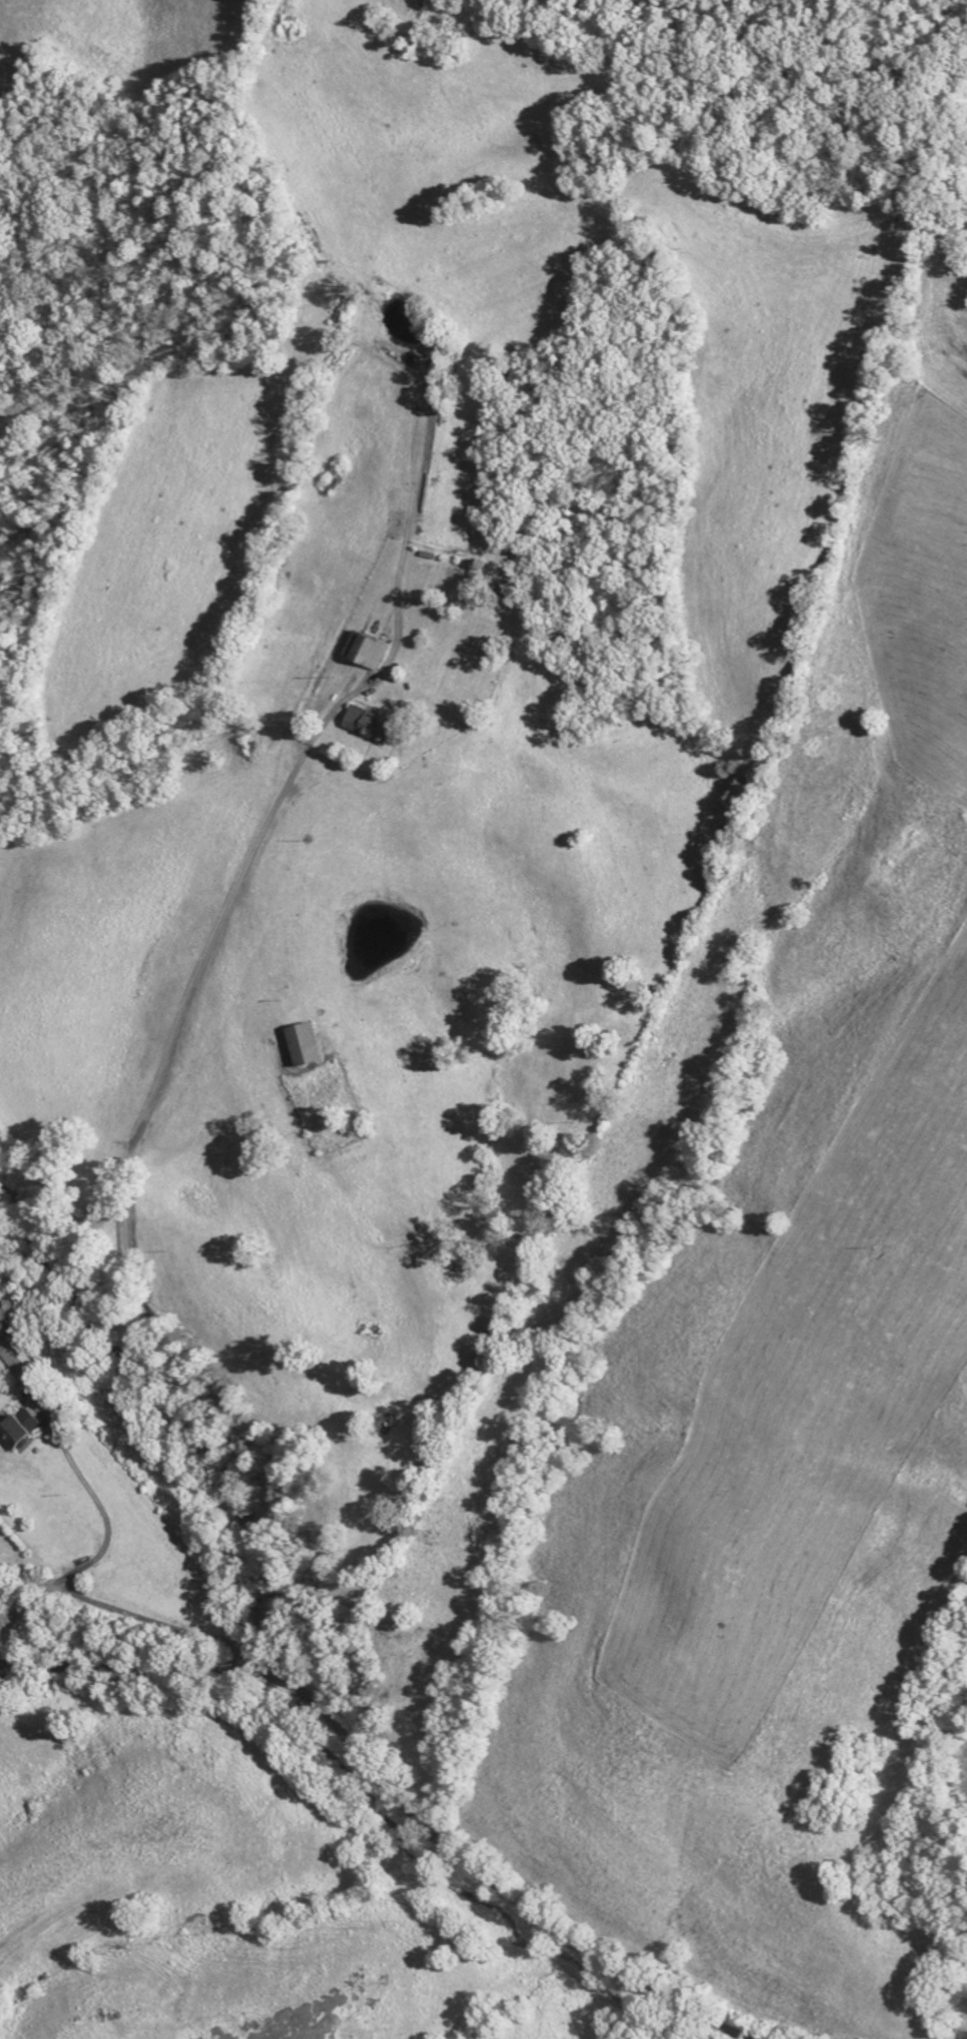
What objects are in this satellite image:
building: (371, 650)
building: (375, 725)
building: (313, 1045)
road: (127, 1185)
building: (26, 1360)
building: (25, 1431)
road: (81, 1581)
road: (44, 1584)
road: (392, 1791)

